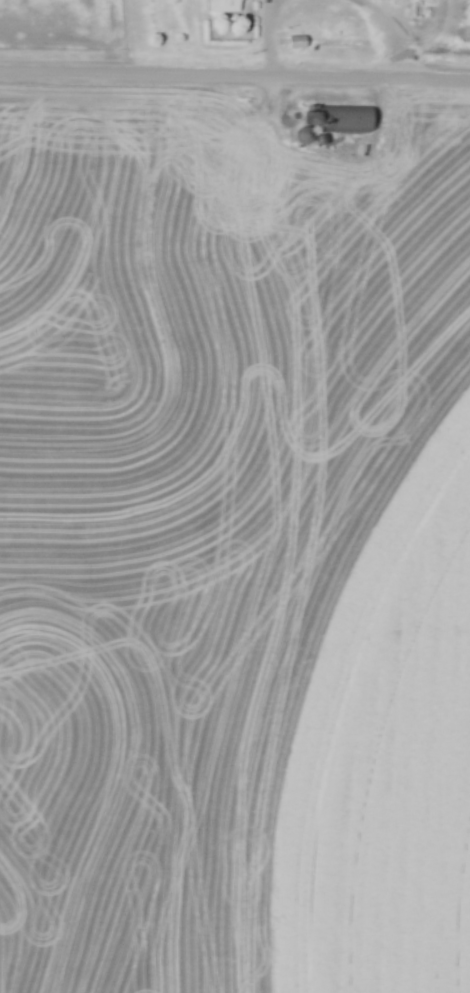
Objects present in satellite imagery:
building: (224, 6)
crop: (458, 16)
road: (400, 31)
road: (270, 34)
road: (234, 76)
crop: (192, 490)
crop: (384, 757)

